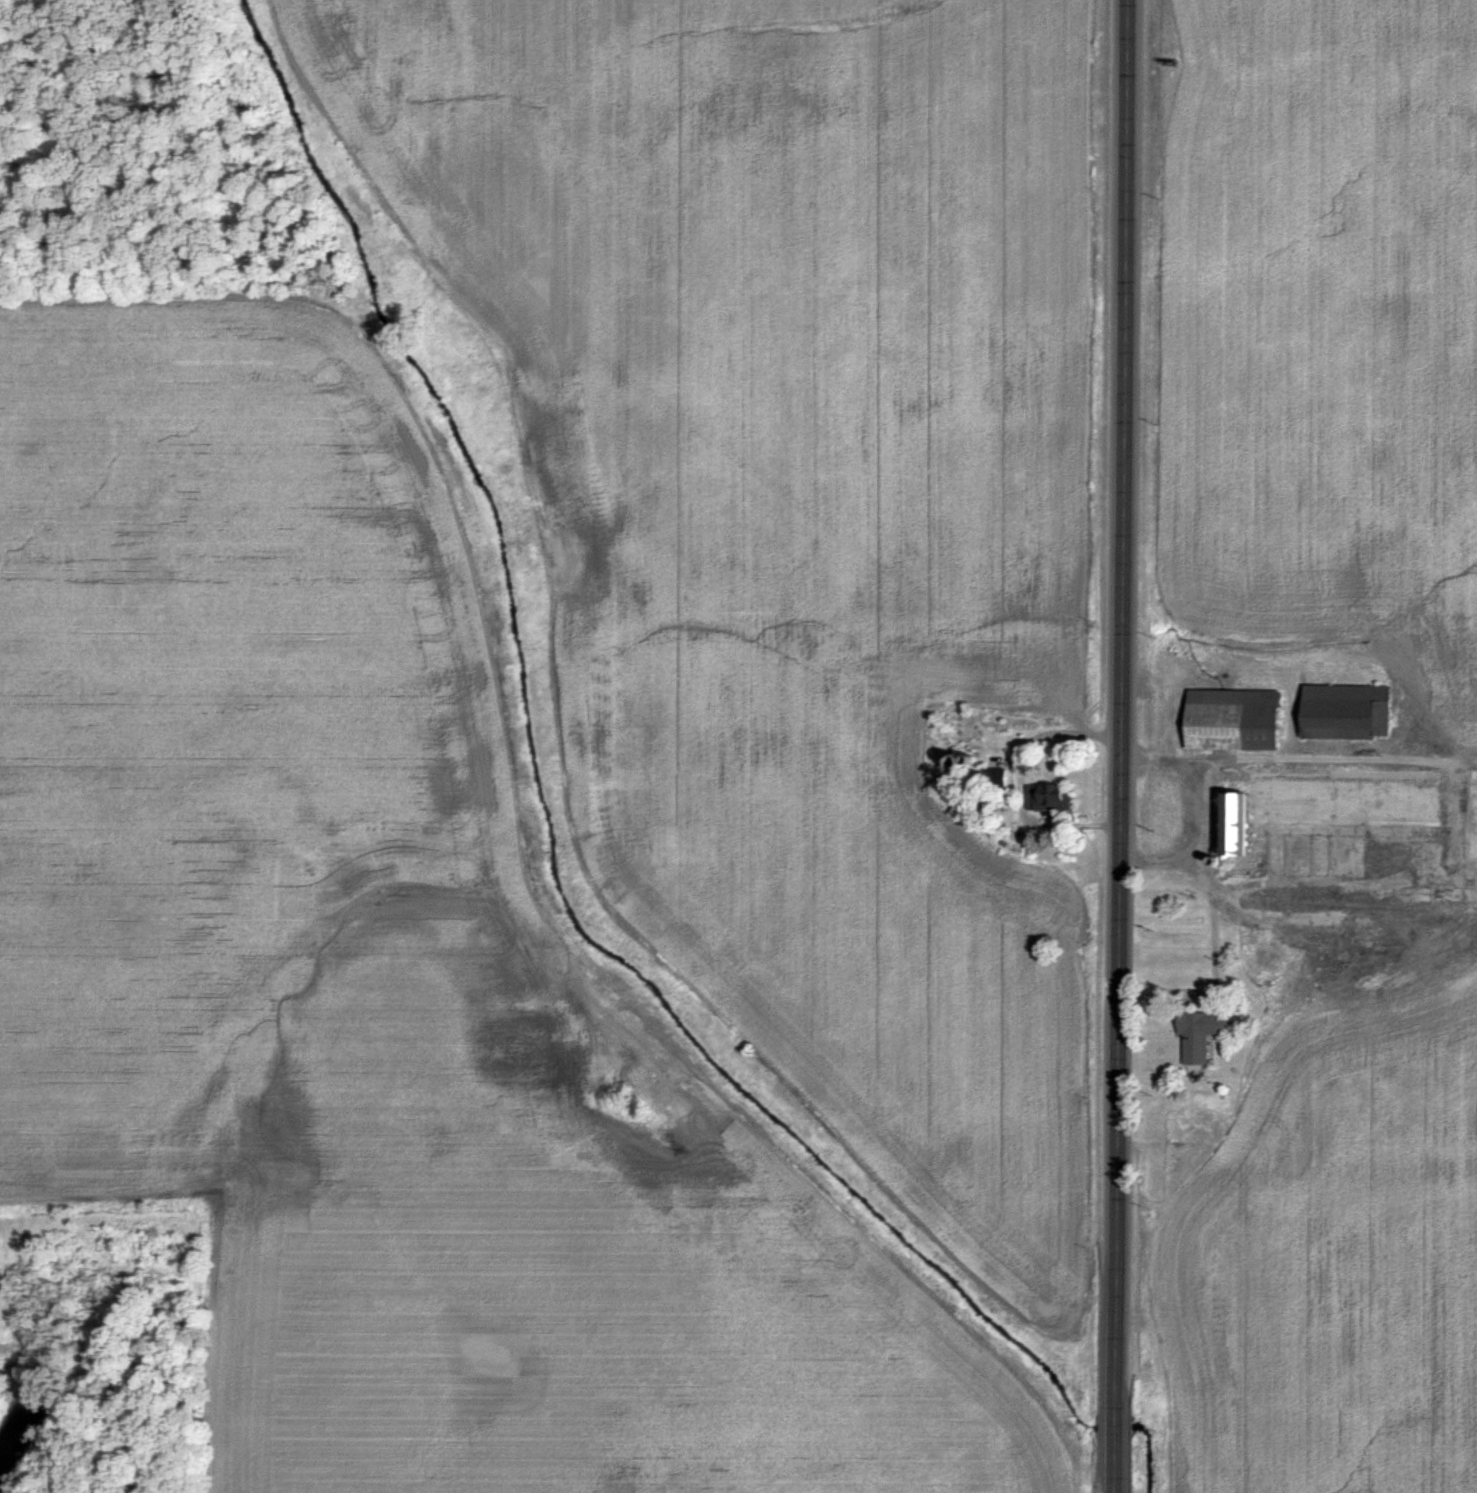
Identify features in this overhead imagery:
building: (1346, 711)
building: (1234, 719)
crop: (558, 744)
road: (1121, 746)
crop: (1297, 751)
road: (1284, 757)
building: (996, 779)
building: (1049, 796)
building: (1251, 815)
road: (1196, 848)
building: (1200, 1033)

